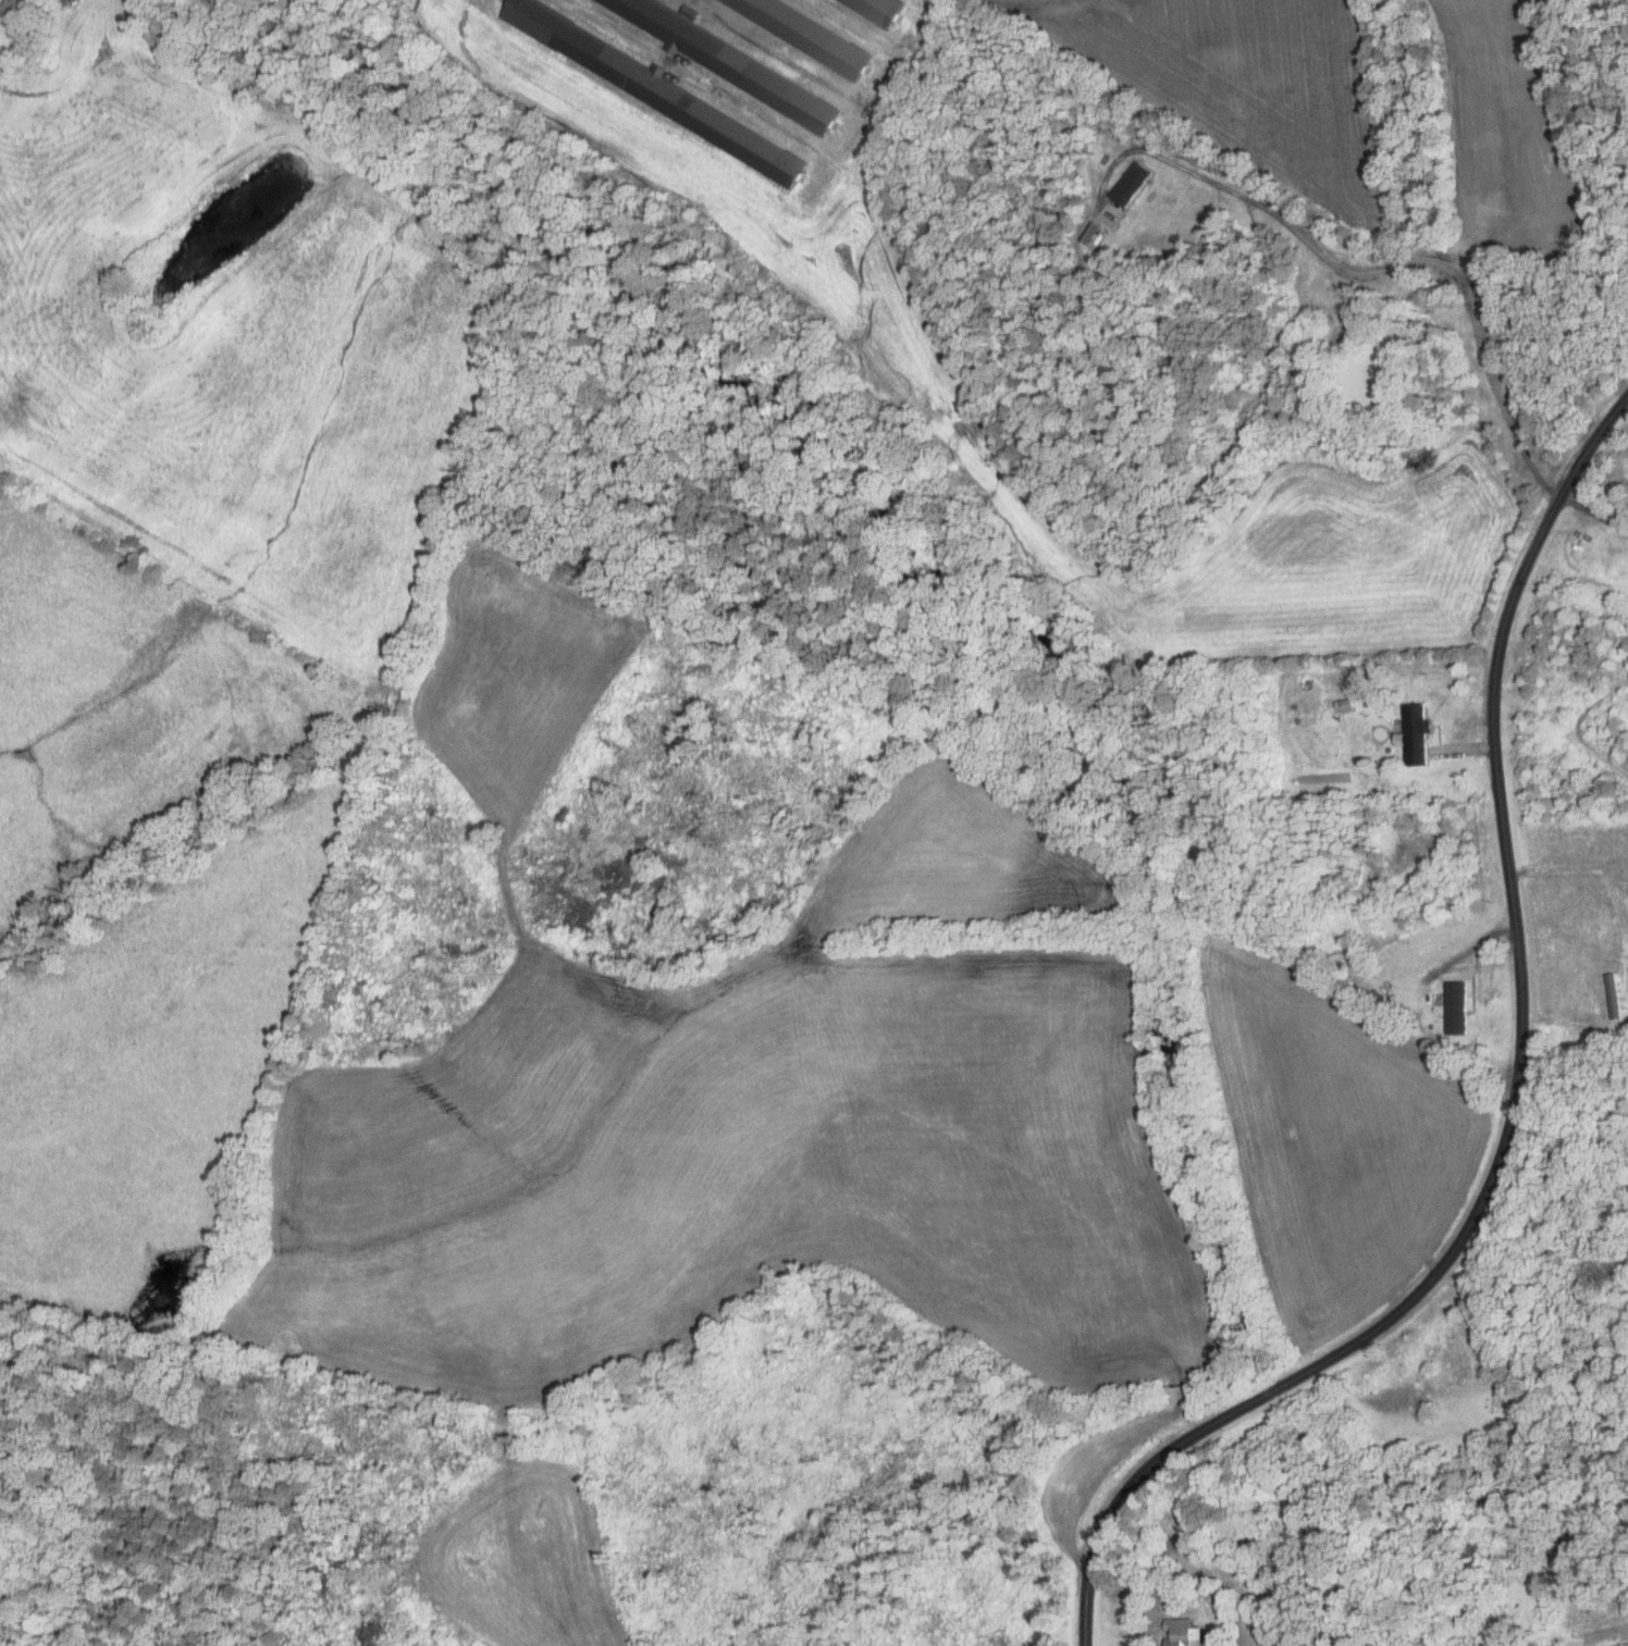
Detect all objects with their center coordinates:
building: (69, 3)
building: (878, 10)
building: (807, 35)
building: (729, 62)
building: (657, 90)
building: (1134, 183)
building: (1090, 233)
road: (1361, 273)
road: (1594, 513)
building: (1411, 735)
building: (1454, 1007)
road: (1516, 1101)
building: (1179, 1632)
road: (1563, 1643)

